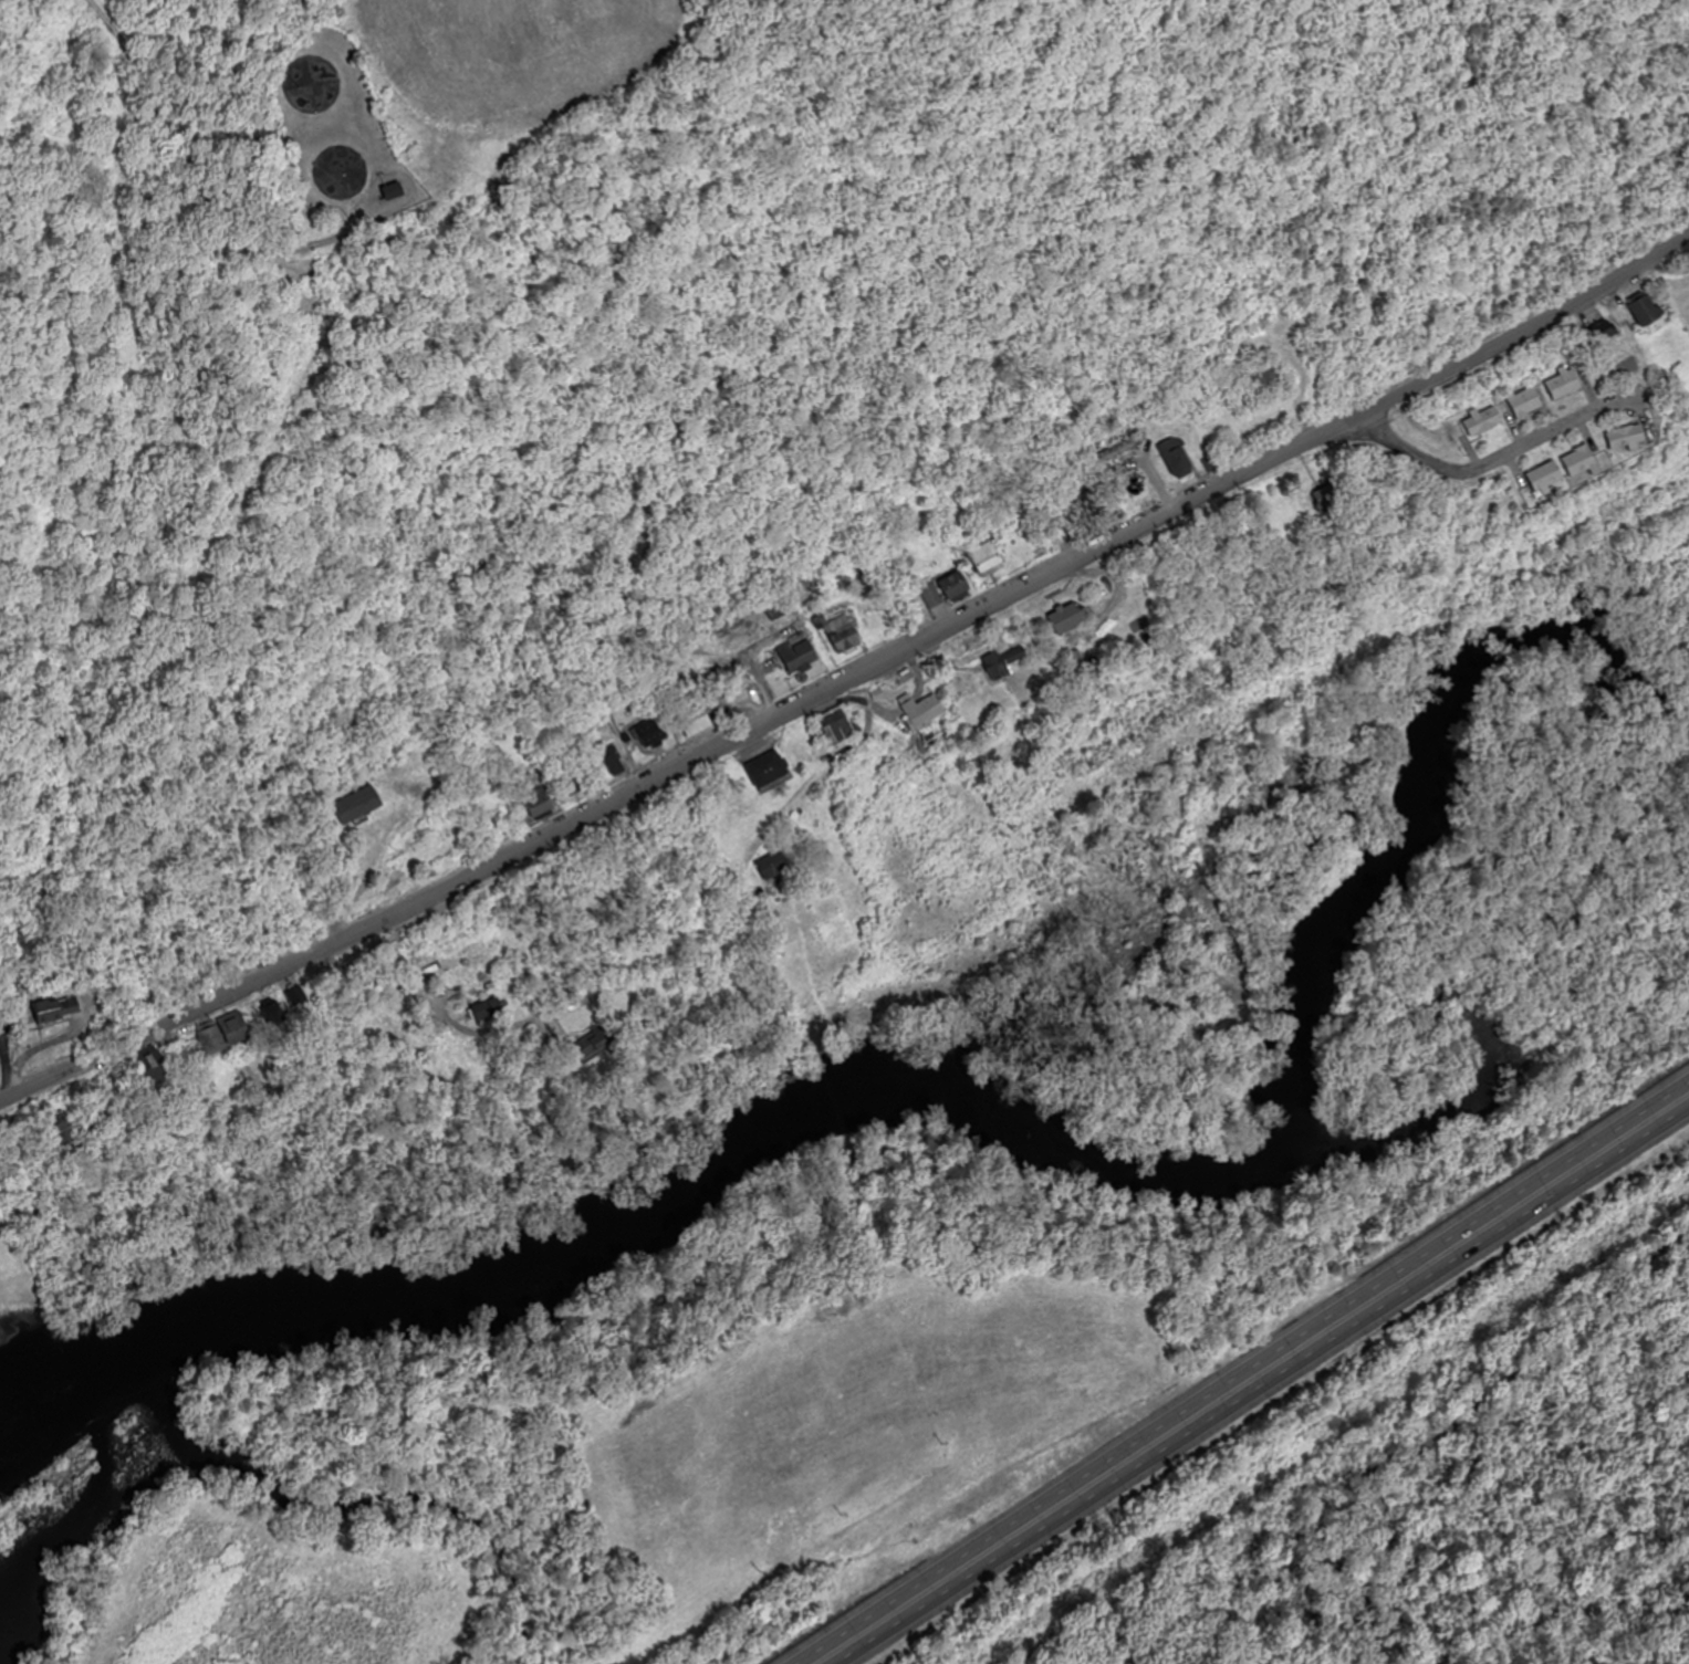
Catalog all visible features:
road: (157, 135)
building: (395, 190)
building: (1647, 310)
building: (1605, 333)
building: (1270, 378)
building: (1567, 381)
building: (1526, 401)
building: (1485, 420)
building: (1630, 437)
building: (1122, 448)
building: (1178, 457)
road: (1501, 458)
building: (1583, 460)
building: (1546, 478)
building: (1326, 496)
building: (989, 556)
building: (957, 586)
building: (932, 596)
building: (1071, 617)
building: (845, 634)
building: (800, 652)
building: (1005, 661)
road: (849, 671)
building: (925, 709)
building: (697, 720)
building: (841, 726)
building: (654, 732)
building: (615, 760)
building: (770, 770)
building: (575, 784)
building: (543, 803)
building: (359, 804)
building: (773, 866)
building: (299, 996)
building: (60, 1008)
building: (487, 1011)
building: (274, 1014)
building: (234, 1028)
building: (211, 1039)
building: (153, 1066)
building: (65, 1131)
road: (1242, 1371)
road: (1263, 1385)

